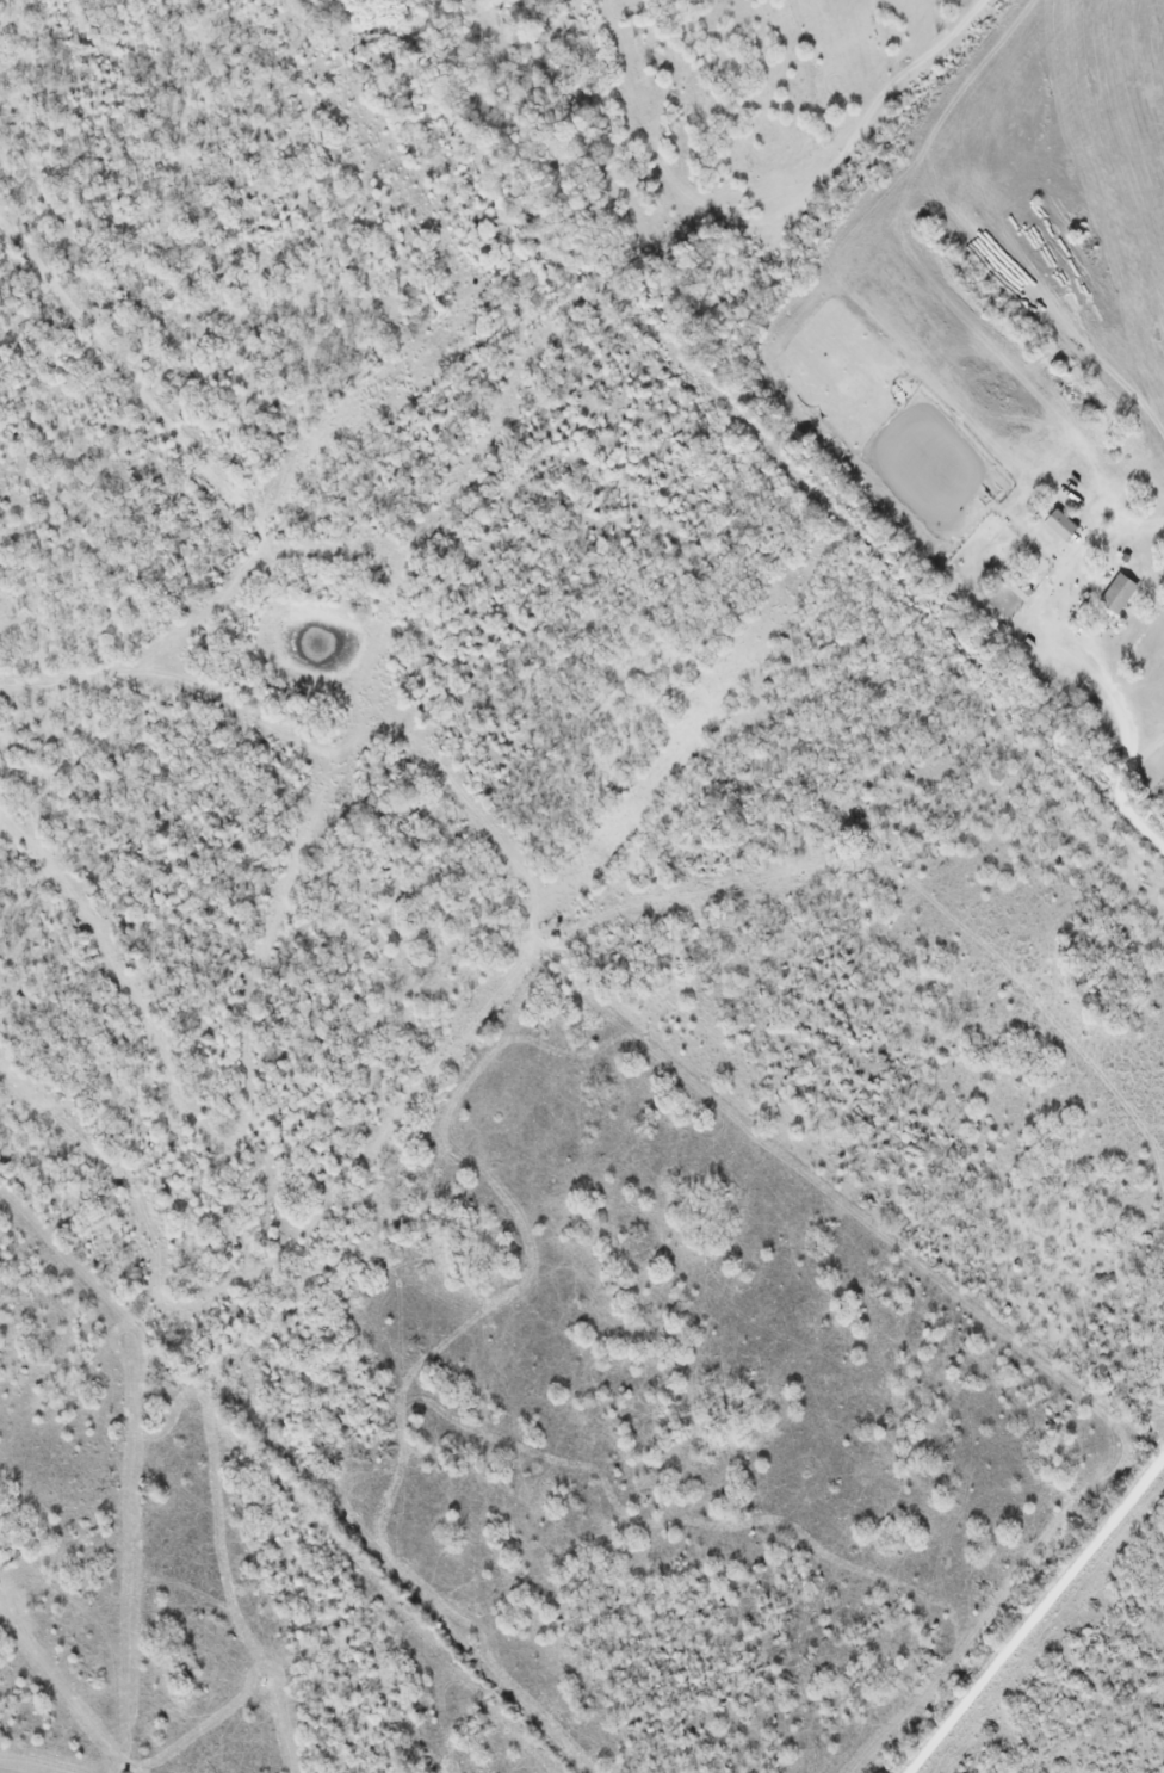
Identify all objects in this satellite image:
building: (1063, 526)
building: (1016, 585)
building: (1117, 593)
road: (1040, 1619)

